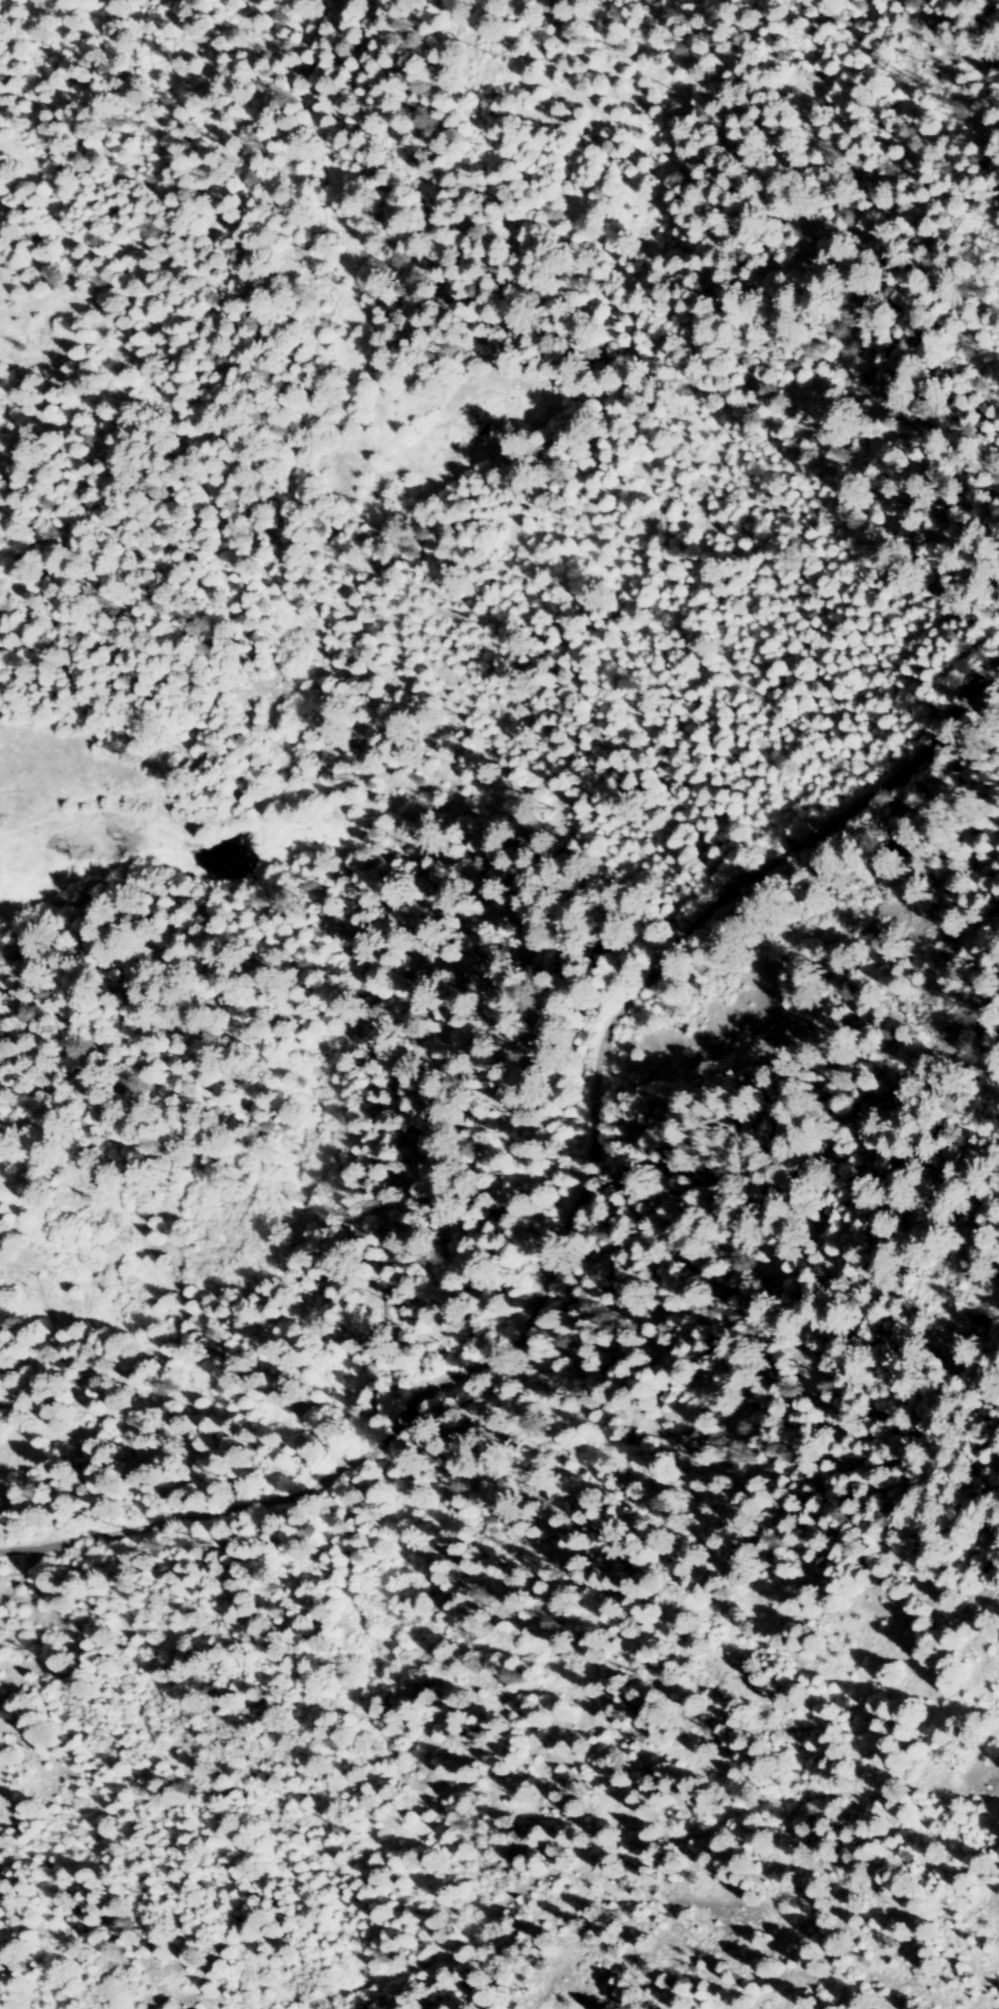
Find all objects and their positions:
building: (199, 2008)

